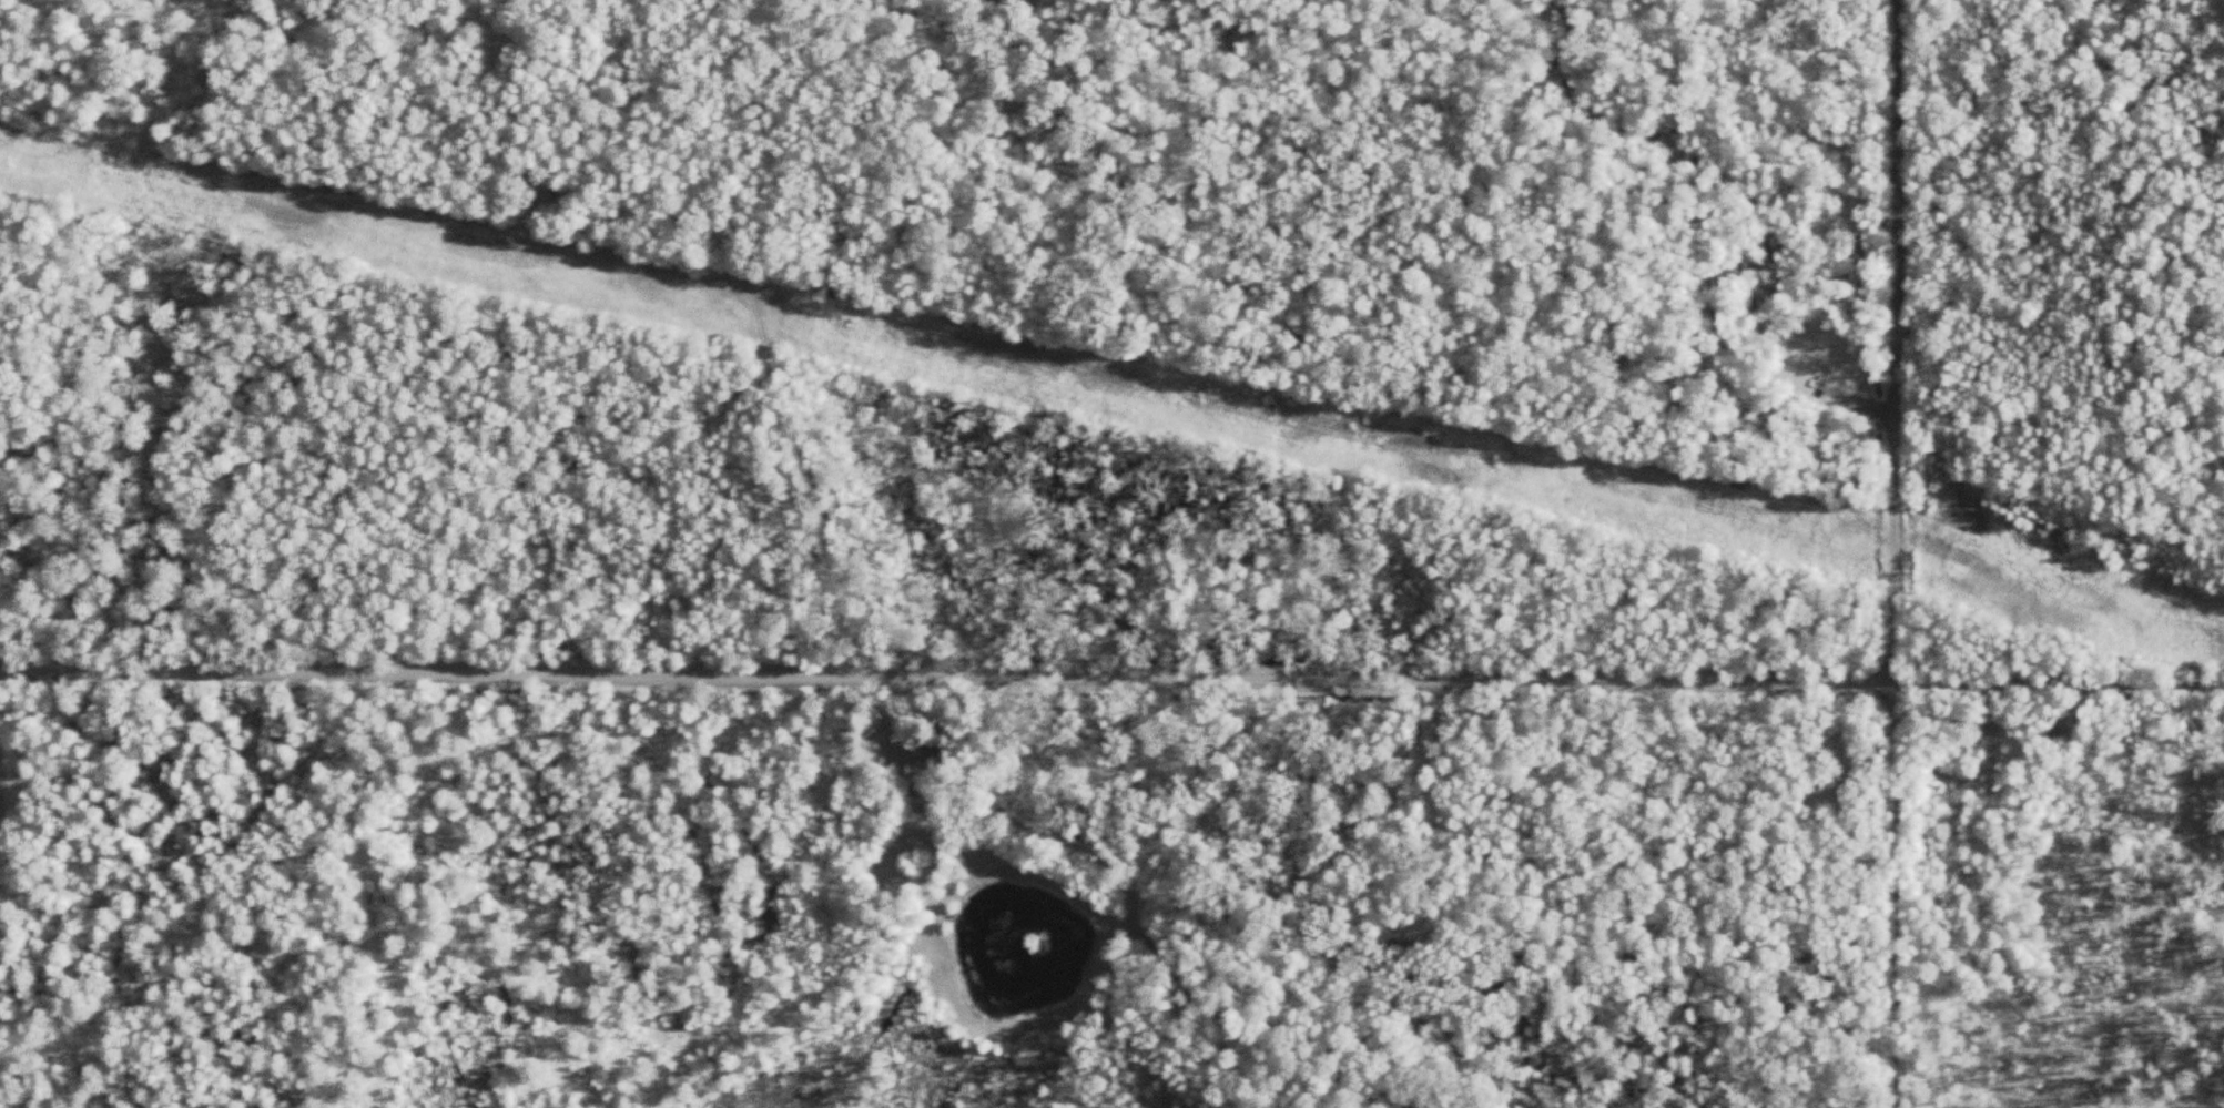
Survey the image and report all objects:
road: (1111, 674)

